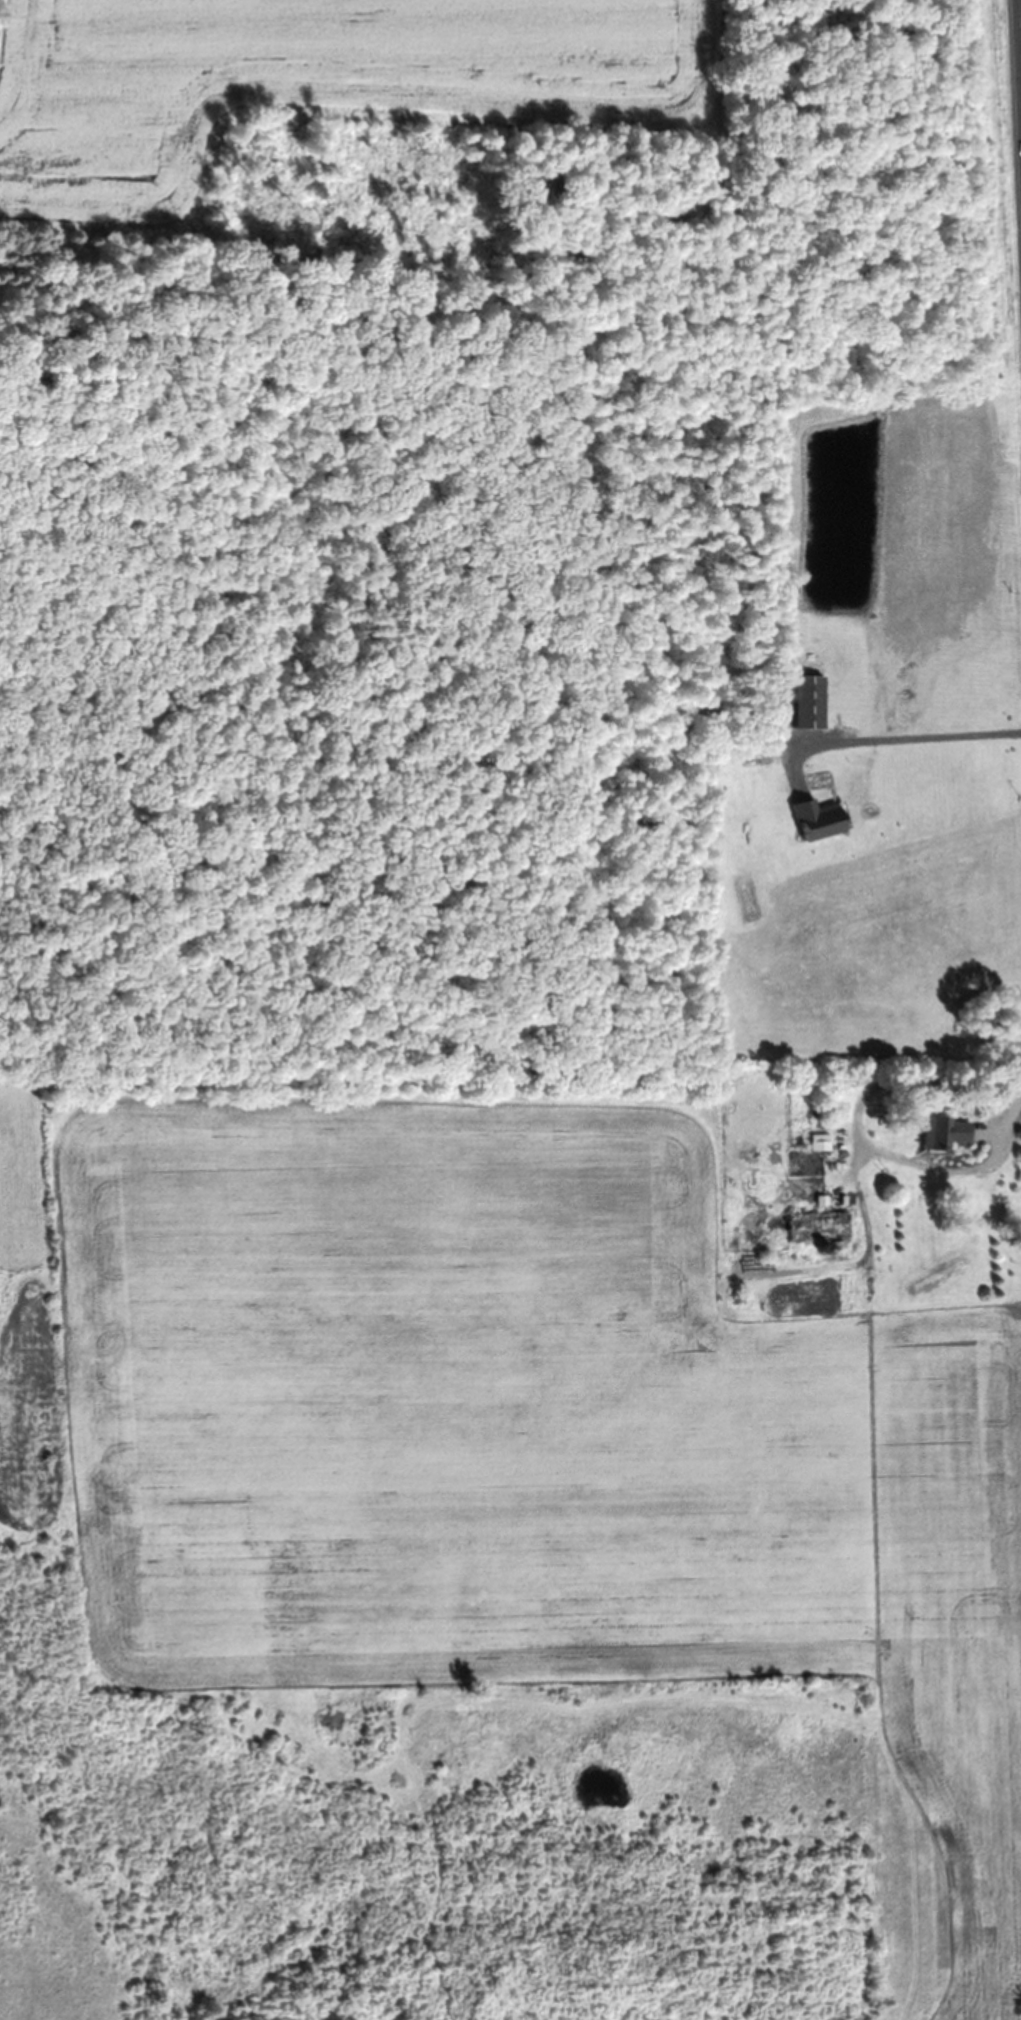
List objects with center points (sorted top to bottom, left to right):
building: (808, 701)
building: (819, 819)
building: (946, 1133)
building: (821, 1142)
building: (825, 1226)

